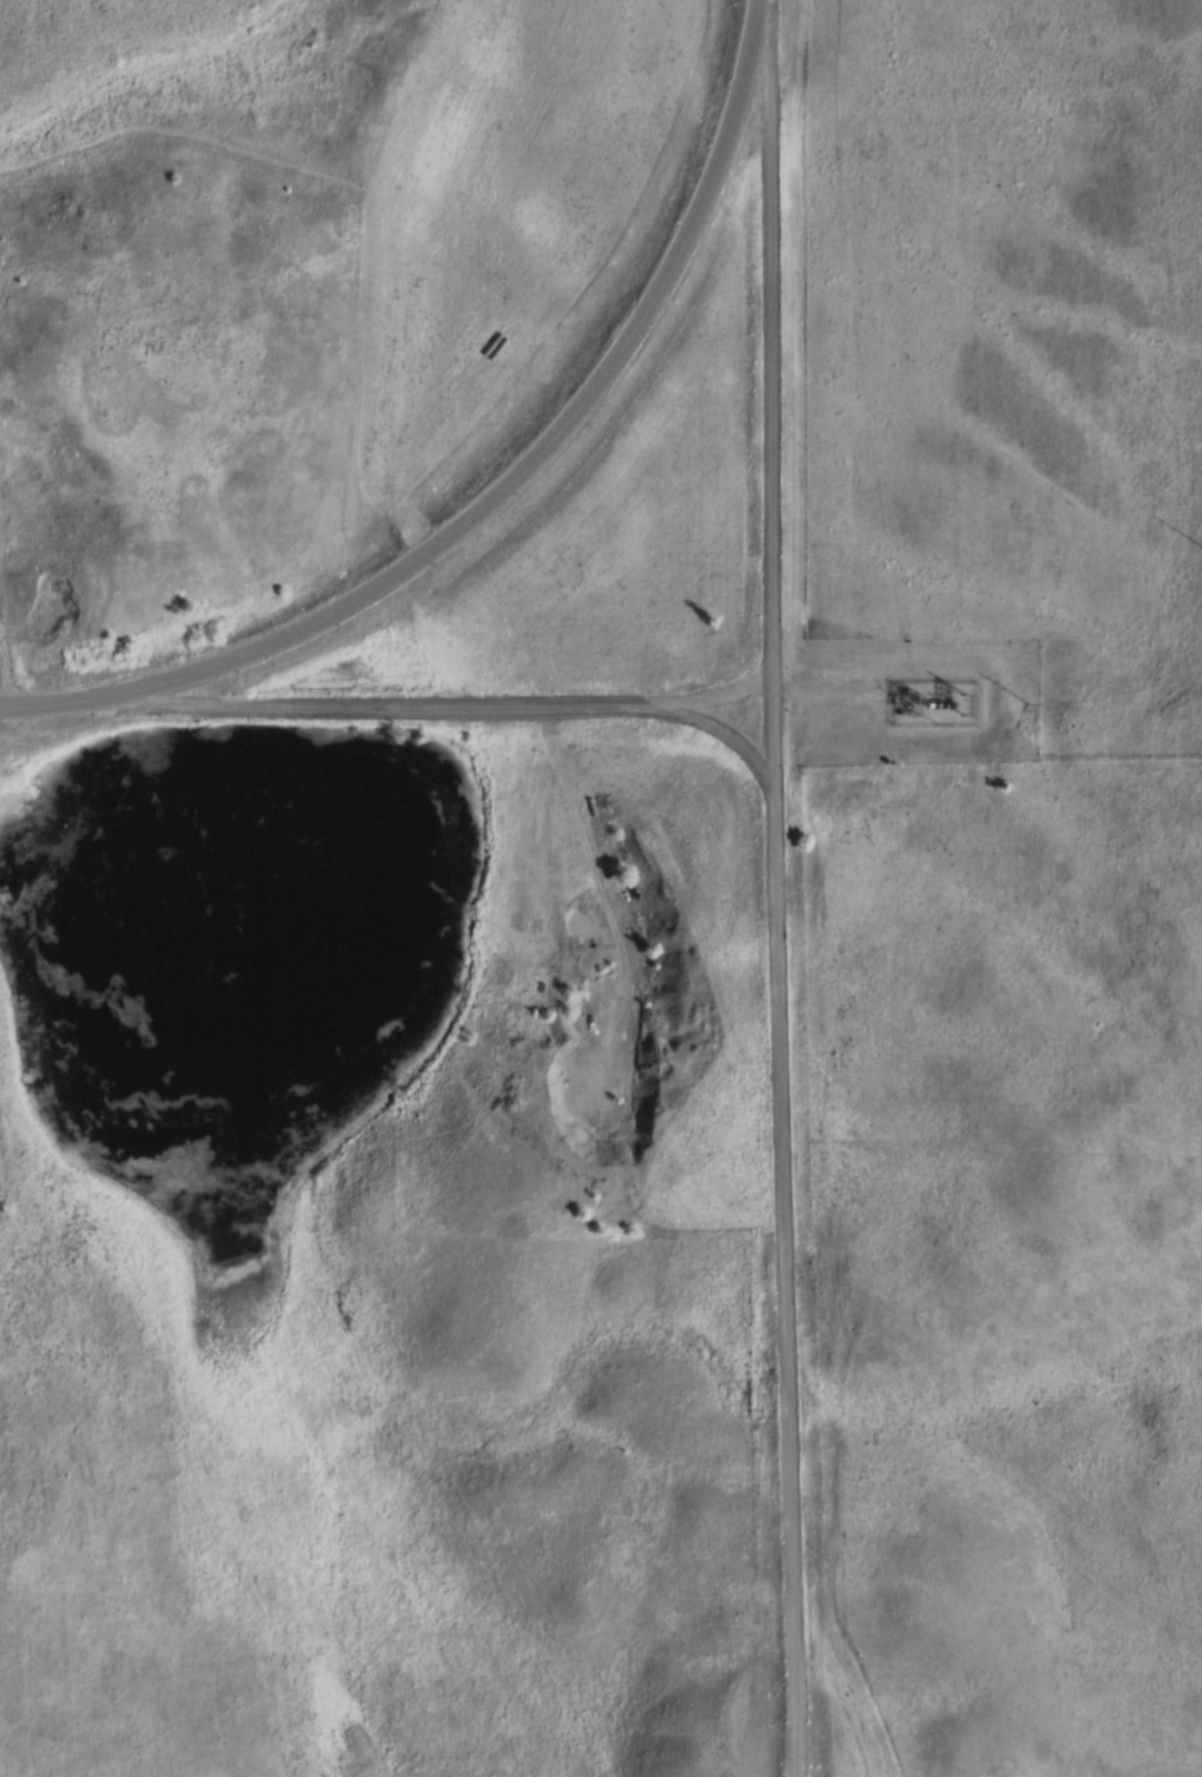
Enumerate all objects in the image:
road: (765, 15)
road: (780, 370)
road: (566, 439)
power tower: (1174, 586)
road: (827, 690)
power tower: (1030, 698)
power substation: (933, 699)
road: (94, 702)
road: (477, 709)
building: (610, 1007)
building: (0, 1210)
road: (795, 1244)

